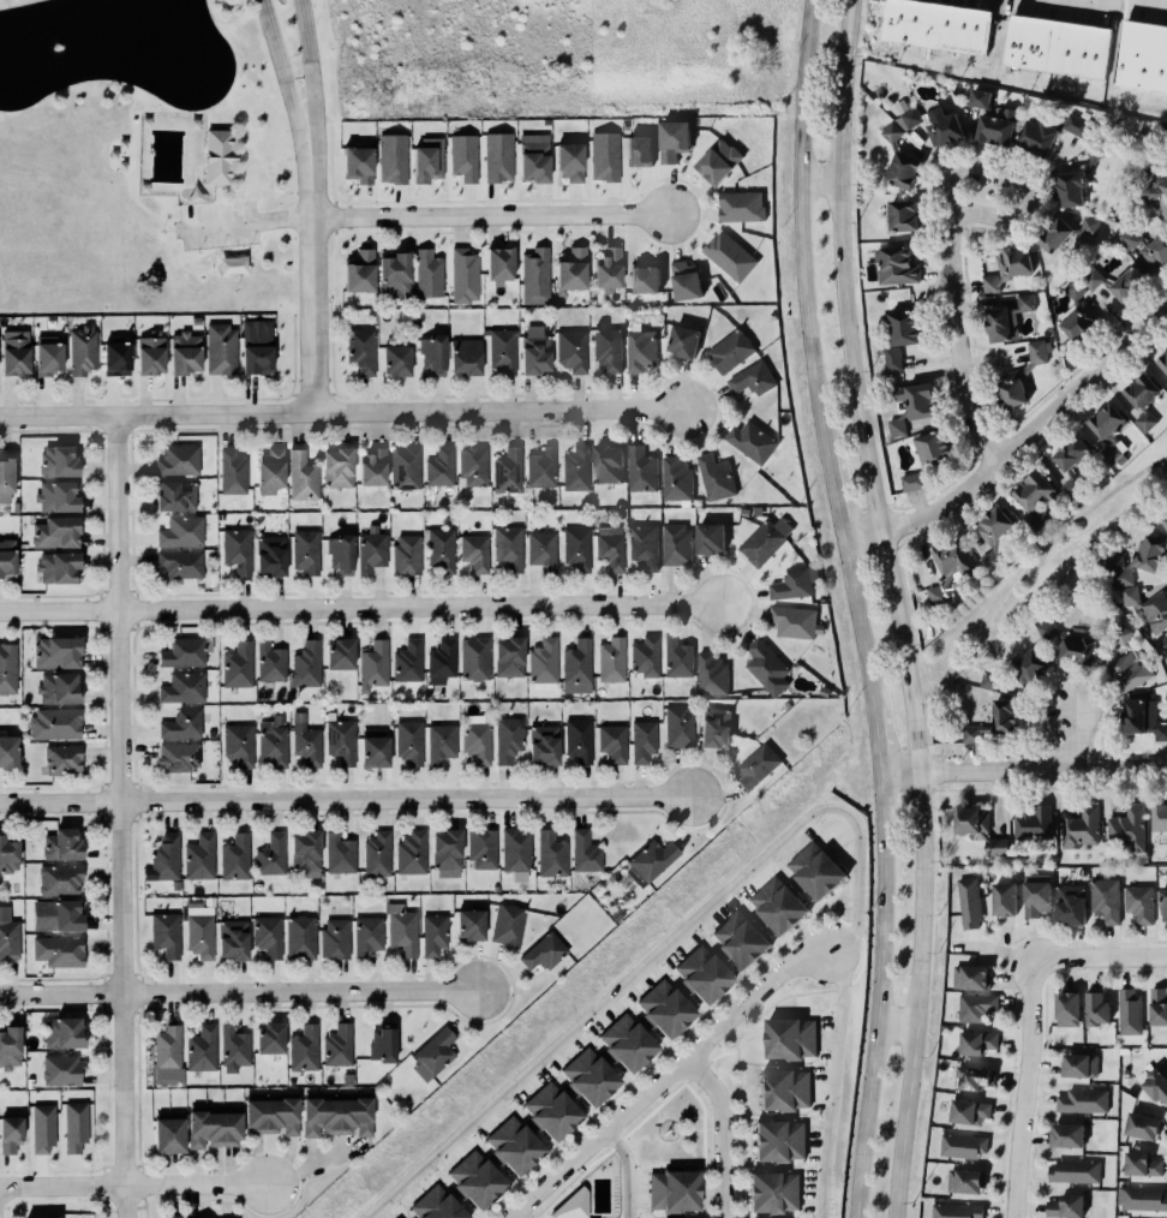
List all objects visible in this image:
road: (1075, 4)
building: (934, 26)
road: (303, 36)
fountain: (66, 41)
building: (1057, 47)
building: (1143, 58)
road: (281, 66)
road: (307, 102)
building: (914, 119)
building: (992, 120)
building: (1076, 126)
building: (944, 131)
building: (1037, 137)
road: (235, 139)
building: (674, 141)
building: (636, 147)
road: (241, 148)
road: (133, 150)
building: (1097, 150)
building: (216, 155)
building: (604, 155)
road: (136, 156)
road: (237, 156)
building: (462, 156)
building: (496, 156)
building: (393, 159)
building: (532, 160)
building: (898, 160)
park: (143, 161)
building: (357, 162)
building: (425, 162)
building: (569, 162)
building: (718, 162)
road: (132, 177)
road: (240, 178)
road: (822, 180)
building: (1163, 185)
building: (1071, 189)
building: (1149, 192)
building: (741, 205)
road: (150, 213)
road: (491, 214)
building: (902, 215)
road: (243, 220)
road: (237, 222)
parking lot: (217, 223)
road: (804, 225)
road: (170, 228)
road: (948, 232)
building: (1070, 232)
building: (1147, 245)
road: (232, 250)
building: (730, 256)
building: (499, 263)
building: (894, 264)
building: (608, 269)
building: (571, 270)
building: (1009, 270)
building: (535, 271)
road: (317, 273)
building: (359, 273)
building: (393, 273)
building: (426, 273)
building: (463, 276)
building: (645, 279)
building: (1093, 279)
building: (686, 281)
building: (1127, 283)
building: (1023, 303)
building: (1078, 315)
building: (998, 324)
building: (899, 334)
building: (683, 341)
building: (256, 346)
building: (359, 348)
building: (608, 348)
building: (82, 350)
building: (221, 350)
building: (501, 350)
building: (534, 350)
building: (729, 350)
building: (571, 351)
building: (640, 351)
building: (14, 352)
building: (431, 352)
building: (1036, 352)
building: (150, 353)
building: (181, 353)
building: (463, 354)
building: (116, 357)
building: (46, 358)
building: (394, 359)
building: (1162, 360)
building: (752, 378)
building: (1011, 389)
building: (1166, 390)
building: (1166, 392)
building: (1143, 400)
building: (910, 406)
road: (345, 414)
building: (1108, 431)
building: (750, 441)
road: (1012, 441)
building: (932, 448)
building: (176, 459)
building: (58, 461)
building: (1070, 462)
building: (608, 464)
building: (473, 466)
building: (337, 467)
building: (373, 467)
building: (405, 467)
building: (441, 467)
building: (539, 467)
building: (575, 468)
building: (639, 468)
building: (507, 470)
building: (270, 471)
building: (232, 472)
building: (301, 476)
building: (713, 477)
building: (6, 479)
building: (676, 480)
building: (912, 482)
road: (837, 494)
building: (56, 496)
building: (173, 496)
building: (1034, 500)
building: (1165, 521)
building: (54, 531)
building: (180, 532)
building: (993, 536)
building: (708, 537)
building: (764, 541)
building: (675, 544)
building: (507, 545)
building: (644, 547)
building: (439, 548)
building: (235, 549)
building: (575, 549)
building: (304, 550)
building: (371, 550)
building: (540, 550)
building: (473, 551)
building: (608, 551)
building: (340, 554)
building: (405, 554)
building: (269, 555)
building: (1150, 555)
building: (7, 559)
building: (952, 560)
building: (180, 563)
building: (55, 565)
road: (1027, 568)
building: (1118, 572)
building: (794, 581)
building: (936, 595)
building: (1147, 607)
road: (897, 608)
road: (363, 610)
building: (792, 621)
road: (861, 621)
building: (1120, 634)
building: (1067, 643)
building: (1165, 644)
building: (54, 652)
building: (184, 652)
building: (340, 655)
building: (507, 657)
building: (645, 657)
building: (474, 658)
building: (677, 658)
building: (407, 659)
building: (610, 659)
building: (441, 661)
building: (270, 662)
building: (576, 662)
building: (306, 664)
building: (238, 665)
building: (373, 665)
building: (544, 665)
building: (765, 667)
building: (1031, 667)
building: (7, 669)
building: (1129, 671)
building: (712, 675)
building: (989, 680)
building: (181, 687)
building: (58, 688)
building: (1133, 716)
building: (993, 721)
building: (55, 723)
building: (181, 724)
building: (678, 727)
building: (716, 727)
building: (1157, 730)
building: (340, 740)
building: (507, 740)
building: (579, 740)
road: (879, 740)
building: (271, 741)
building: (304, 741)
building: (474, 741)
building: (611, 741)
building: (642, 741)
road: (1076, 741)
building: (409, 742)
building: (439, 742)
building: (237, 744)
building: (541, 744)
building: (375, 748)
building: (8, 752)
building: (178, 757)
building: (62, 759)
building: (758, 765)
road: (1024, 770)
road: (346, 802)
road: (124, 817)
building: (1160, 818)
building: (1031, 823)
building: (1078, 828)
building: (979, 829)
building: (1127, 829)
building: (61, 846)
building: (515, 848)
building: (483, 849)
building: (583, 850)
building: (337, 852)
building: (411, 853)
building: (270, 854)
building: (304, 854)
building: (377, 854)
building: (447, 854)
building: (551, 854)
building: (8, 856)
building: (198, 856)
building: (166, 858)
building: (235, 858)
building: (648, 860)
road: (762, 860)
building: (814, 870)
building: (59, 879)
building: (1034, 897)
building: (1004, 900)
building: (1106, 901)
building: (969, 903)
building: (1139, 903)
building: (1162, 903)
building: (778, 904)
building: (1069, 909)
building: (56, 915)
building: (468, 924)
building: (507, 925)
building: (402, 930)
building: (163, 933)
building: (198, 935)
building: (366, 935)
building: (433, 935)
building: (268, 936)
building: (300, 937)
building: (334, 937)
building: (233, 939)
building: (738, 939)
building: (10, 941)
road: (994, 948)
building: (56, 950)
building: (544, 953)
road: (1099, 960)
building: (701, 973)
building: (971, 978)
road: (239, 993)
road: (878, 995)
building: (1156, 1007)
building: (976, 1008)
building: (664, 1009)
building: (1065, 1009)
building: (1095, 1009)
building: (1130, 1011)
road: (894, 1023)
building: (62, 1032)
building: (268, 1038)
building: (788, 1038)
building: (624, 1041)
building: (382, 1043)
building: (975, 1043)
building: (10, 1046)
building: (232, 1046)
building: (337, 1046)
building: (303, 1047)
building: (201, 1049)
building: (431, 1051)
building: (166, 1055)
building: (1079, 1065)
building: (61, 1070)
building: (588, 1076)
building: (972, 1077)
road: (666, 1080)
building: (1155, 1085)
building: (783, 1089)
road: (1025, 1089)
building: (1083, 1101)
building: (550, 1111)
building: (968, 1111)
building: (268, 1117)
building: (335, 1117)
building: (74, 1127)
building: (1142, 1127)
building: (211, 1128)
park: (672, 1128)
building: (42, 1129)
road: (725, 1133)
building: (8, 1134)
building: (167, 1135)
building: (1066, 1135)
building: (777, 1140)
building: (513, 1146)
building: (963, 1146)
building: (1141, 1164)
road: (577, 1170)
road: (628, 1171)
building: (1073, 1171)
building: (474, 1175)
road: (574, 1177)
building: (964, 1181)
road: (197, 1183)
road: (61, 1184)
road: (571, 1184)
road: (576, 1184)
road: (583, 1186)
building: (672, 1189)
park: (586, 1190)
building: (771, 1192)
road: (143, 1198)
road: (198, 1198)
building: (1141, 1198)
road: (151, 1199)
road: (550, 1200)
road: (143, 1204)
road: (144, 1204)
road: (588, 1204)
building: (437, 1205)
building: (571, 1205)
road: (139, 1206)
building: (1064, 1206)
building: (957, 1211)
road: (145, 1212)
road: (276, 1213)
building: (38, 1217)
building: (172, 1217)
building: (395, 1217)
building: (399, 1217)
road: (547, 1217)

